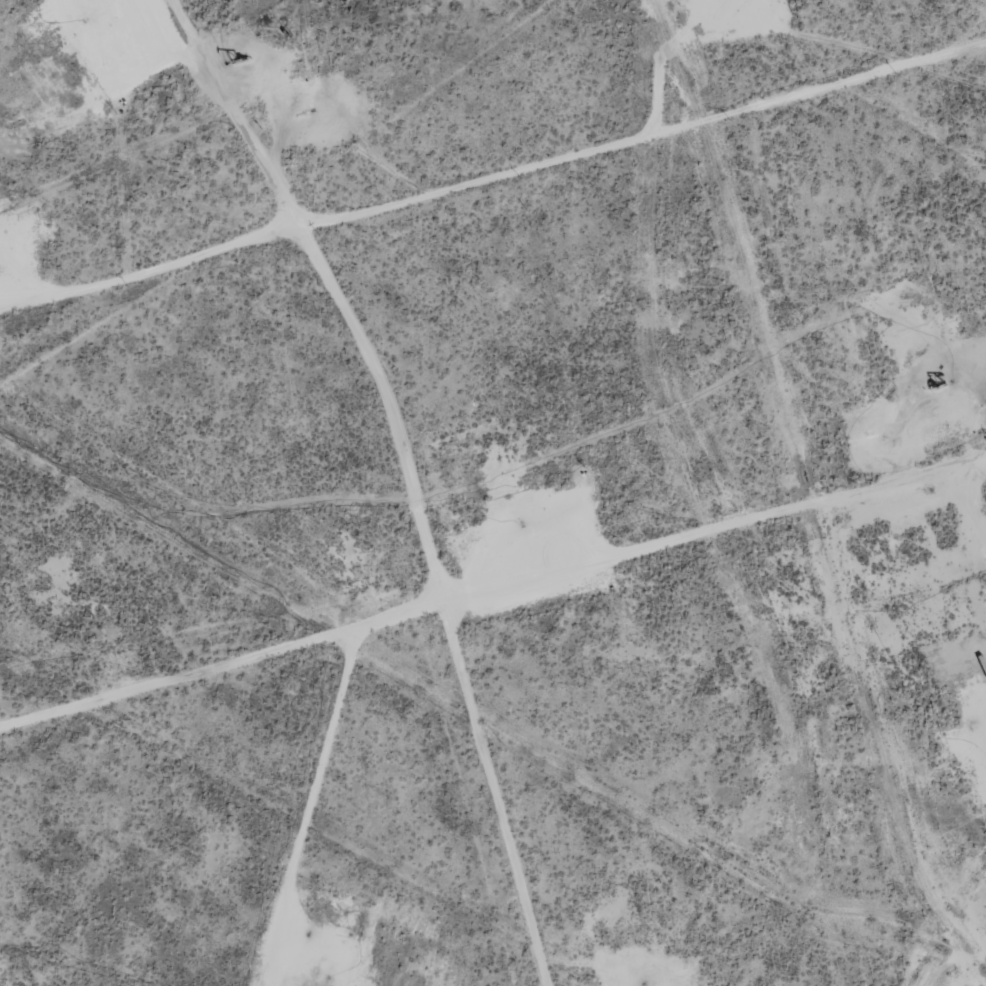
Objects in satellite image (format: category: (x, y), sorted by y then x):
road: (492, 224)
road: (275, 317)
road: (493, 621)

